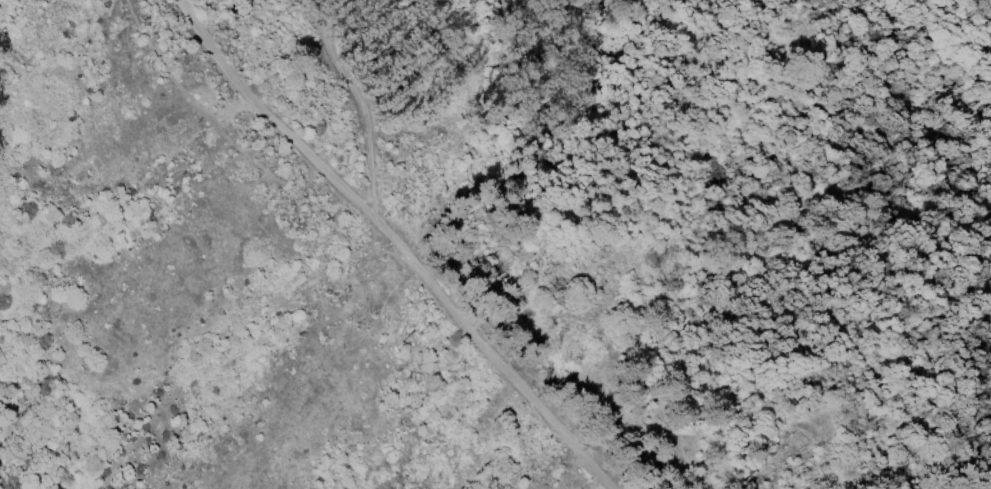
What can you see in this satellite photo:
road: (372, 111)
road: (399, 246)

